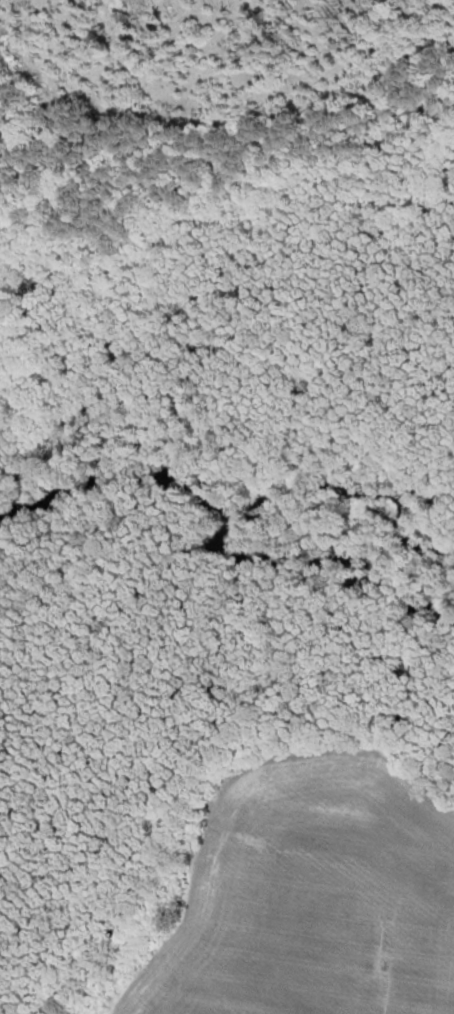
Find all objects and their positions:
park: (165, 729)

